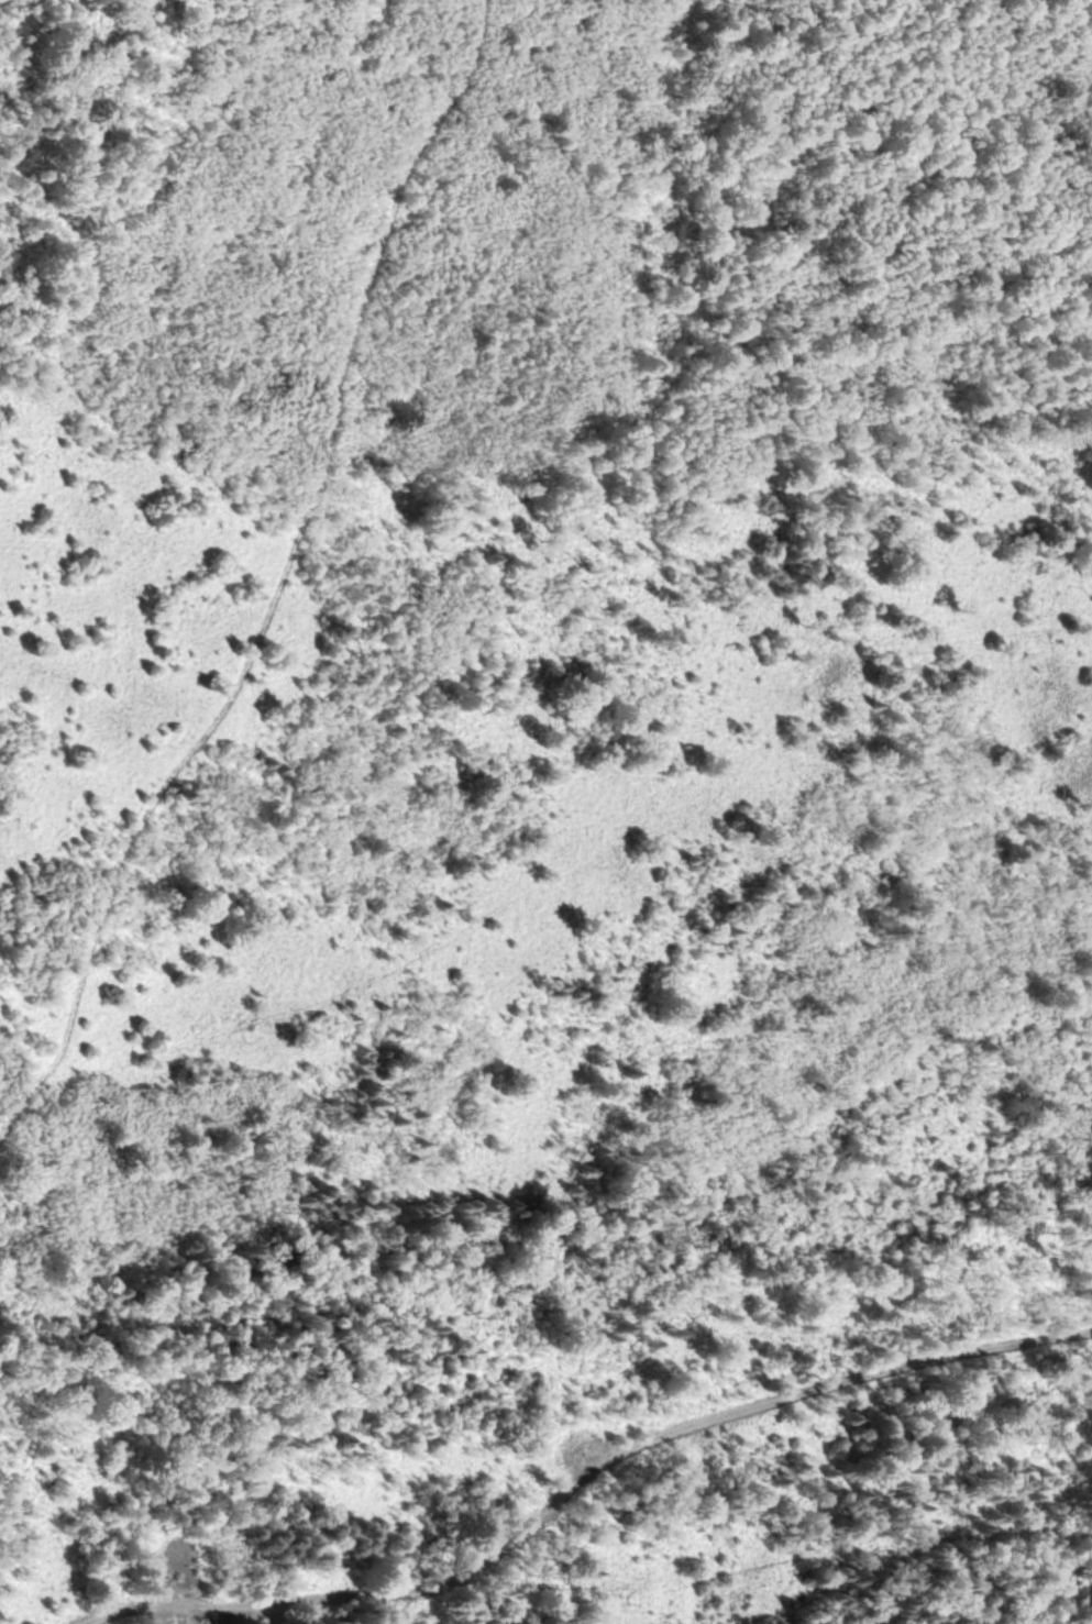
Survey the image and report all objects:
road: (755, 1439)

